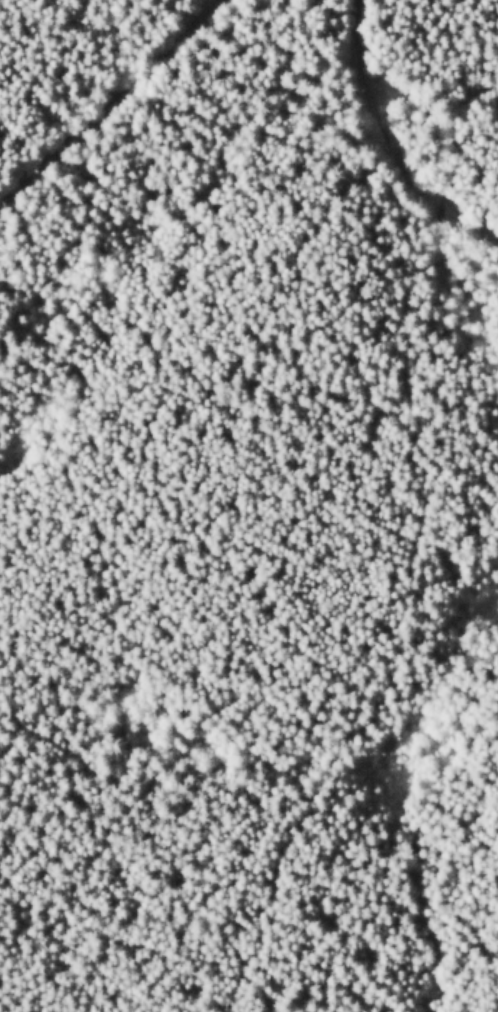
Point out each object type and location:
road: (84, 84)
road: (408, 116)

